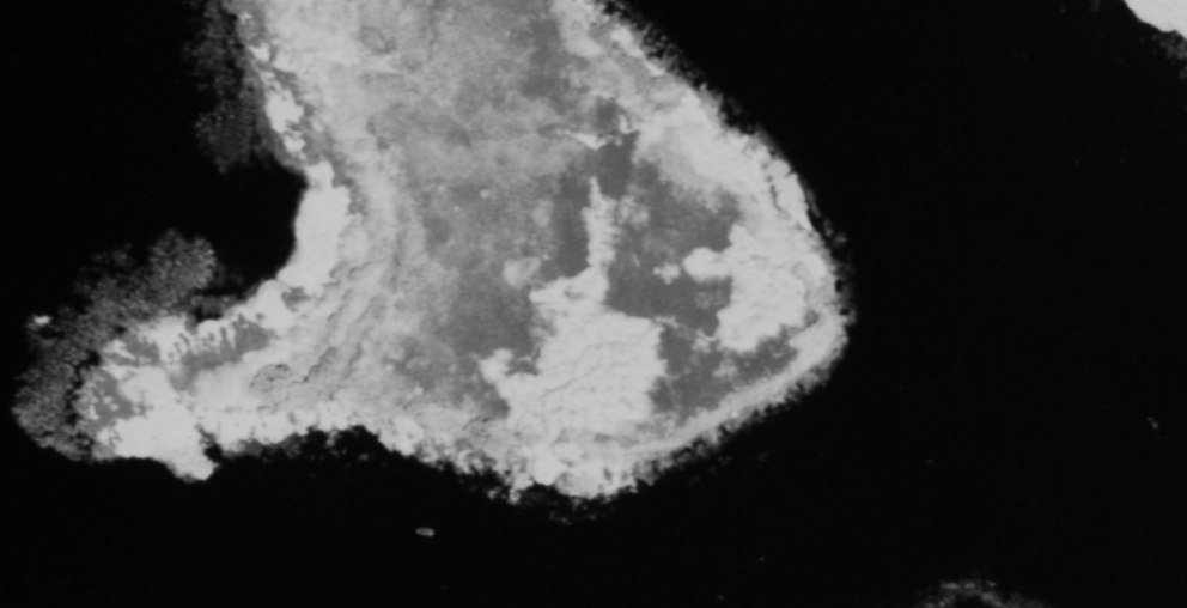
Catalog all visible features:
river: (987, 138)
river: (1142, 273)

